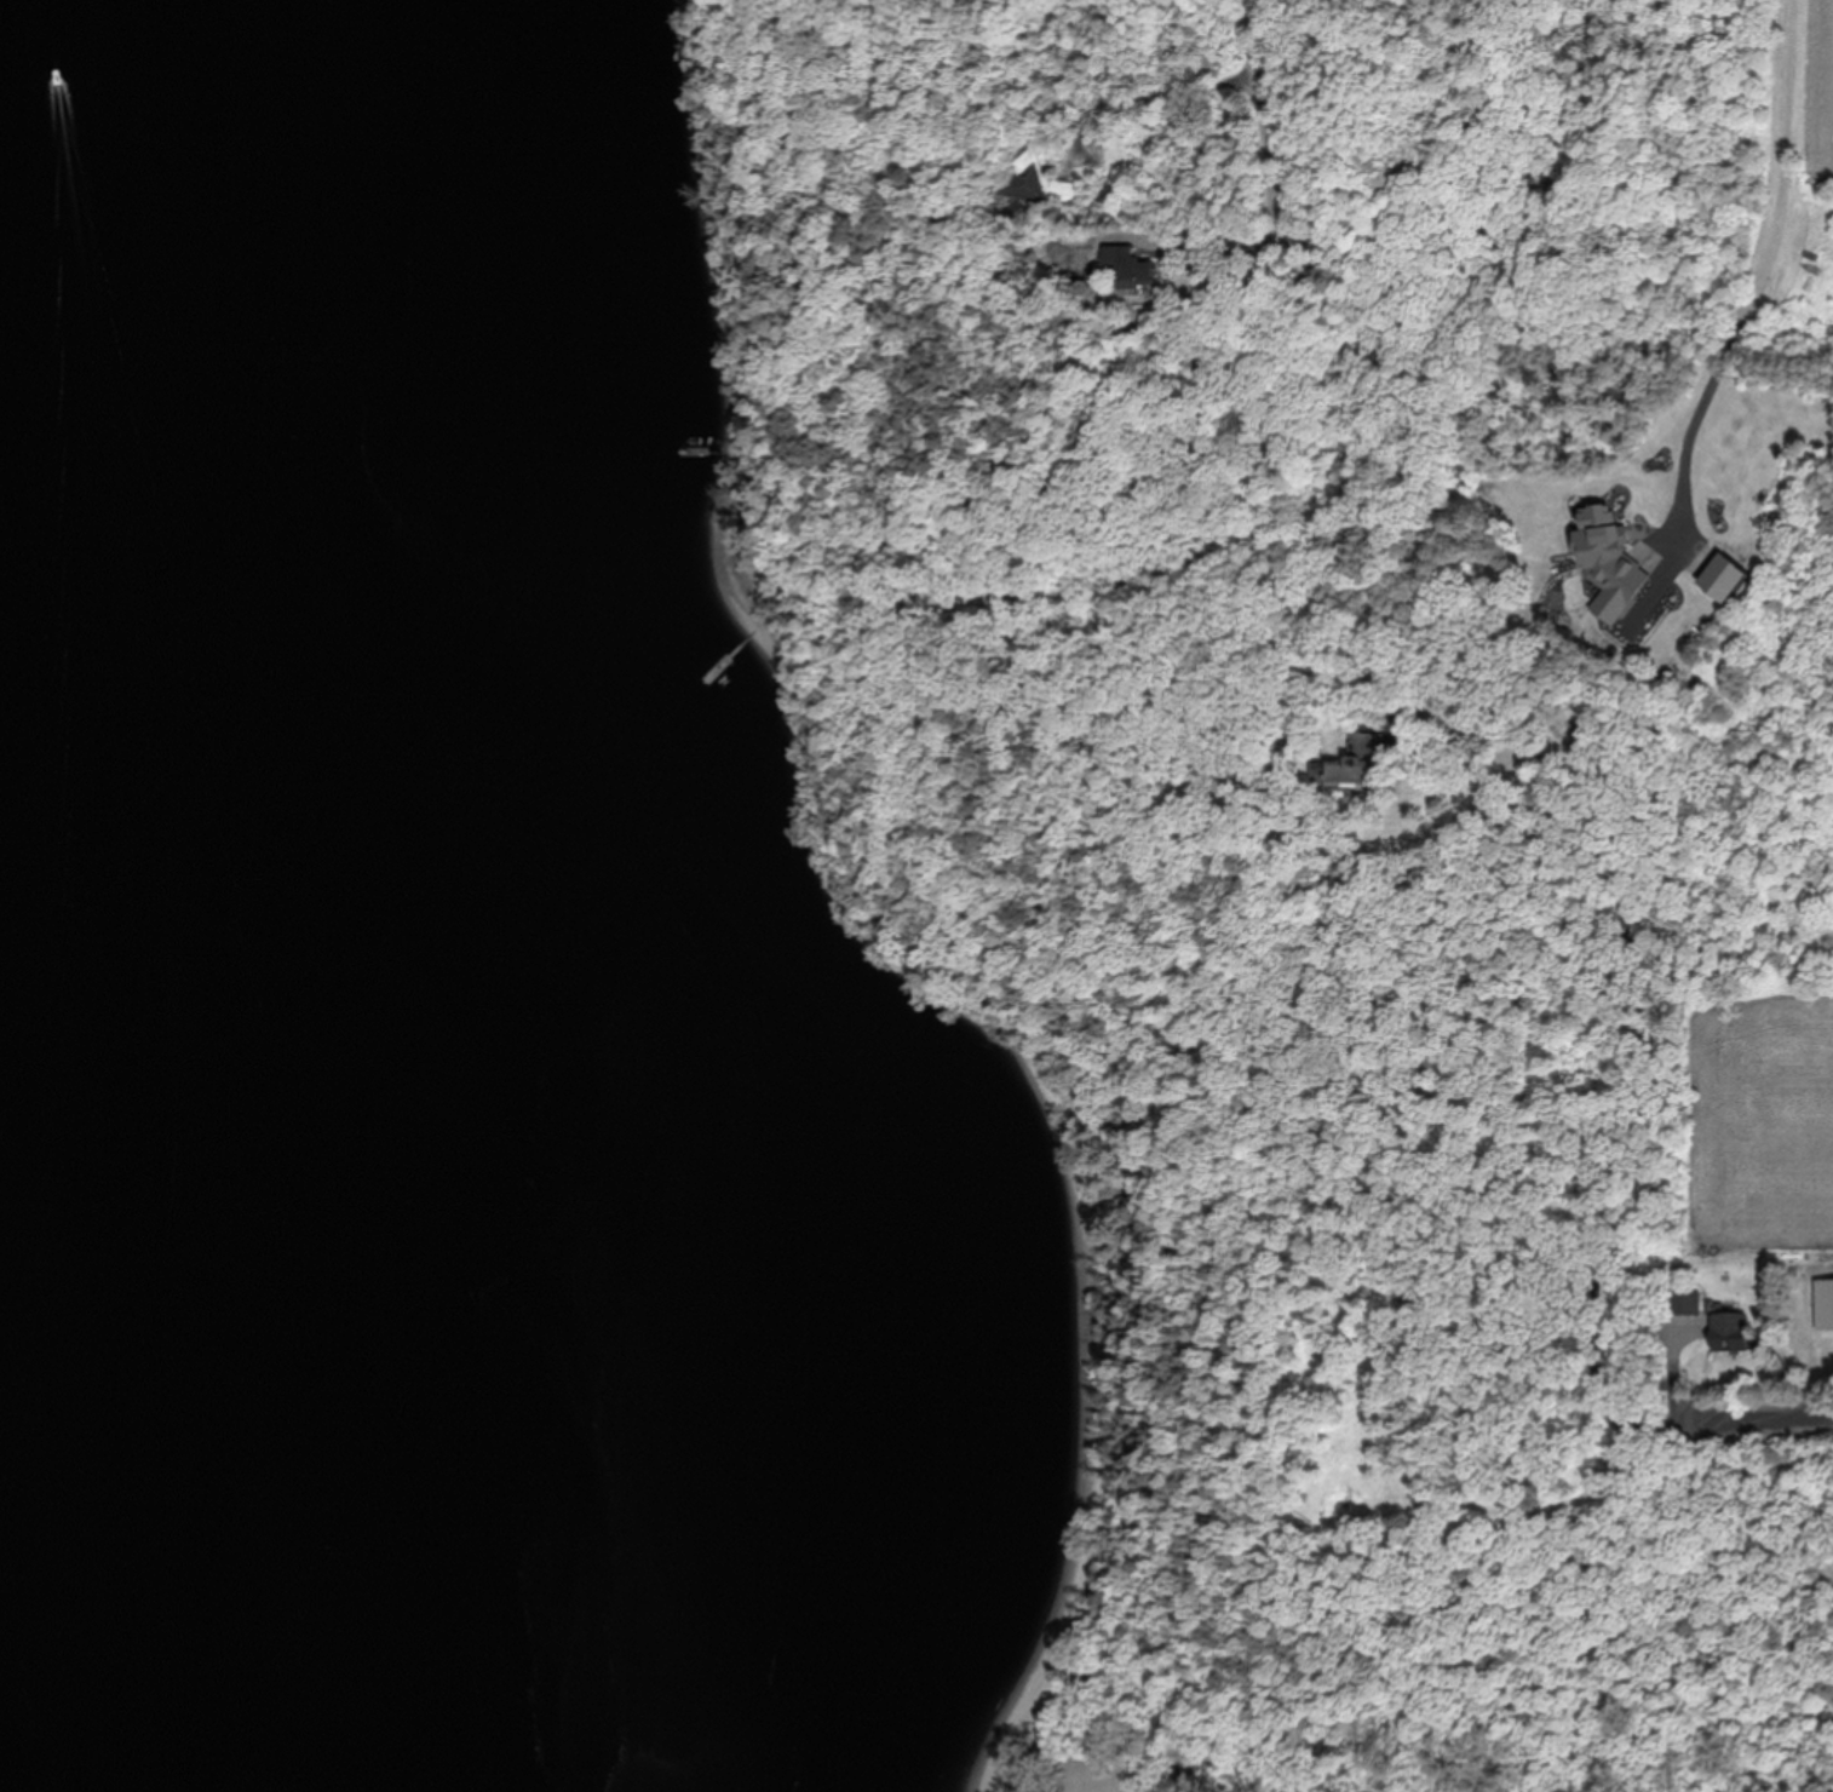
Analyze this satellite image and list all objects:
road: (1257, 34)
road: (1156, 94)
crop: (1787, 176)
building: (1041, 178)
road: (1272, 199)
building: (1134, 270)
road: (1758, 277)
building: (1364, 760)
river: (140, 897)
crop: (1756, 1120)
road: (1771, 1424)

